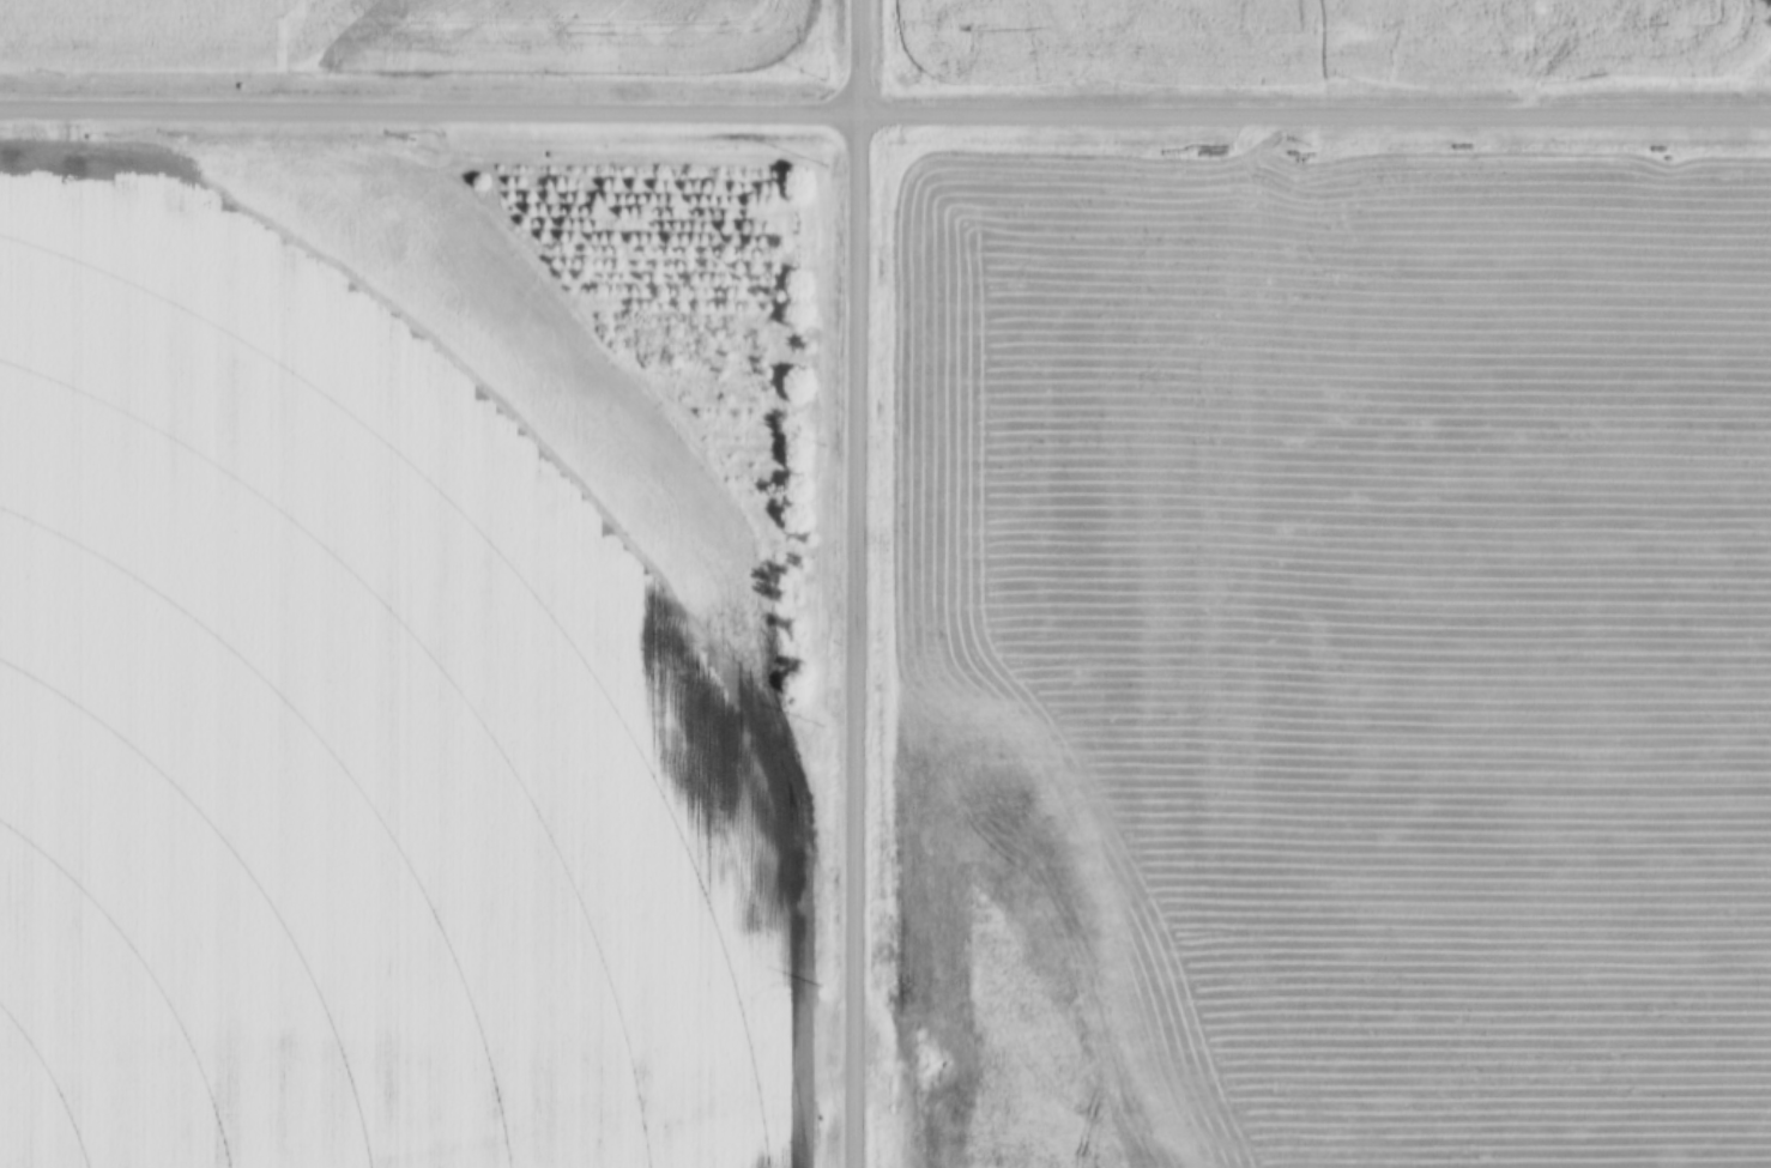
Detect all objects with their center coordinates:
road: (885, 116)
road: (858, 583)

